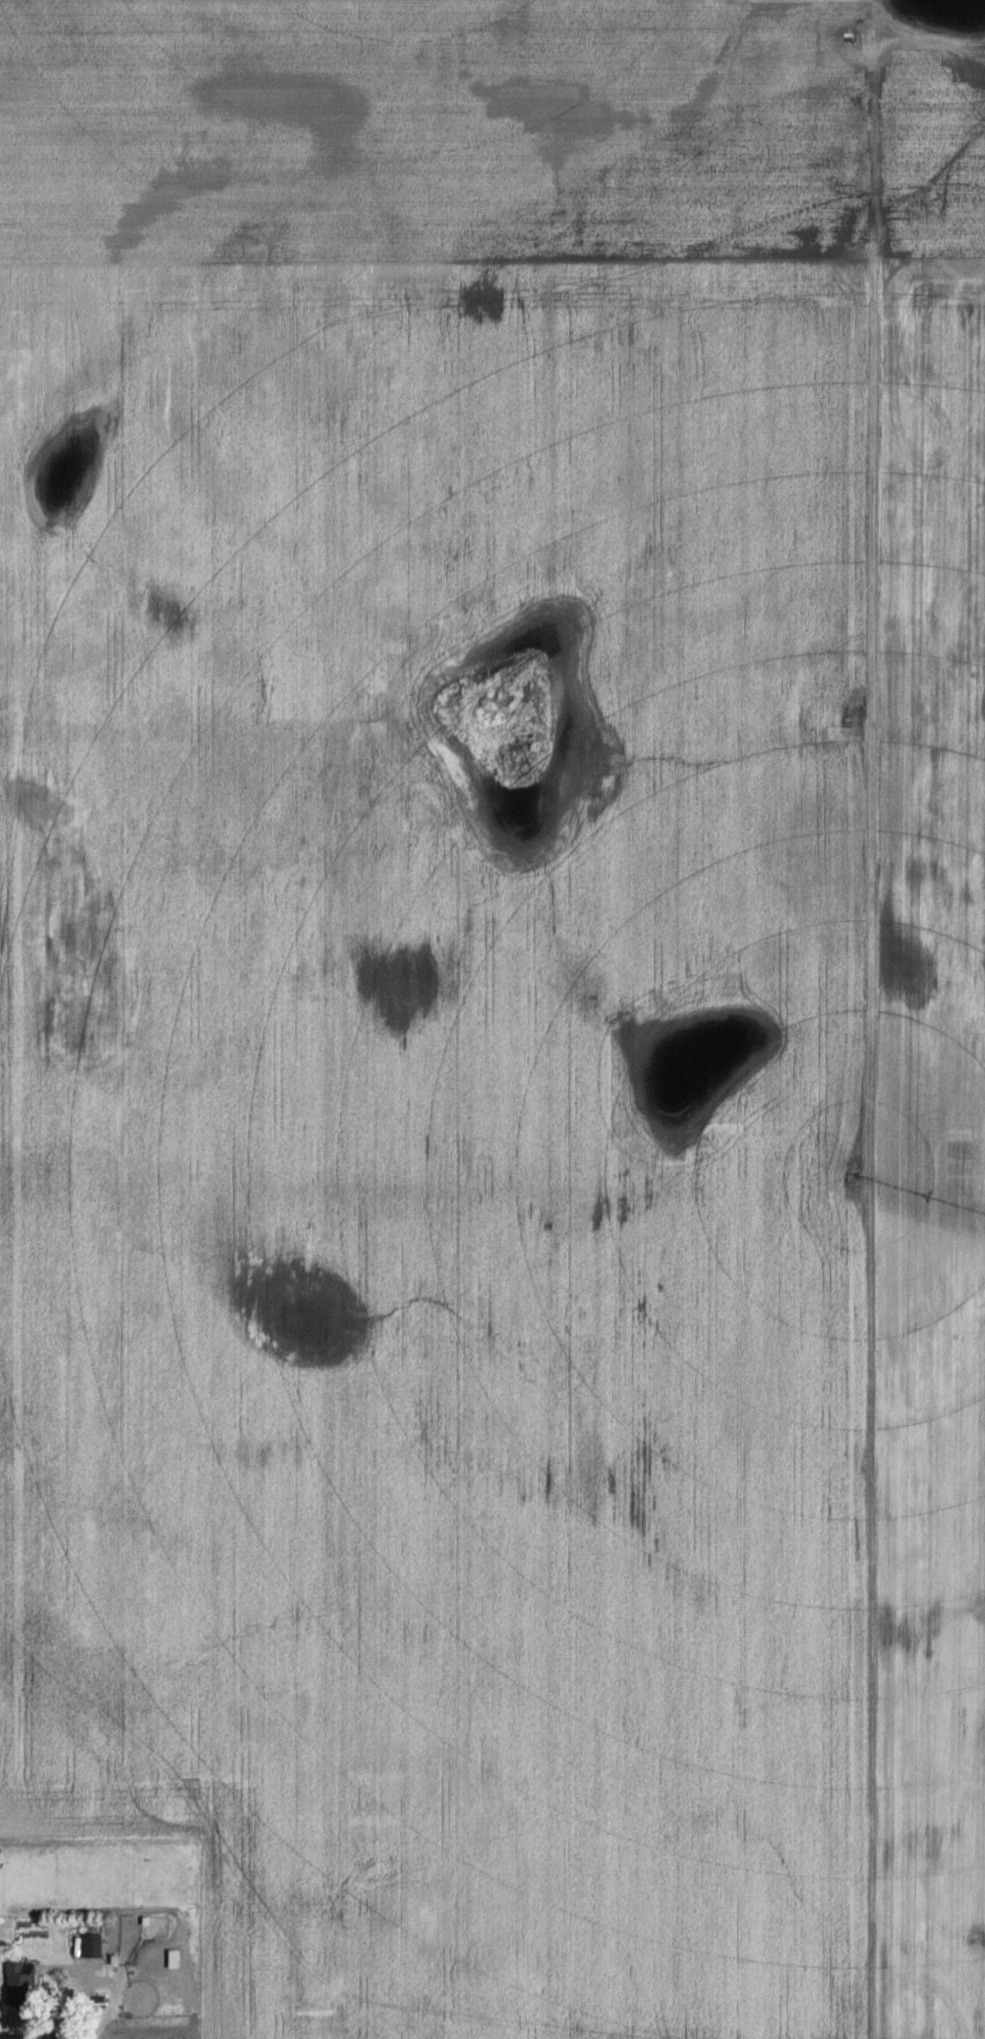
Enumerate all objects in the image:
building: (91, 1958)
building: (19, 1985)
road: (87, 1987)

